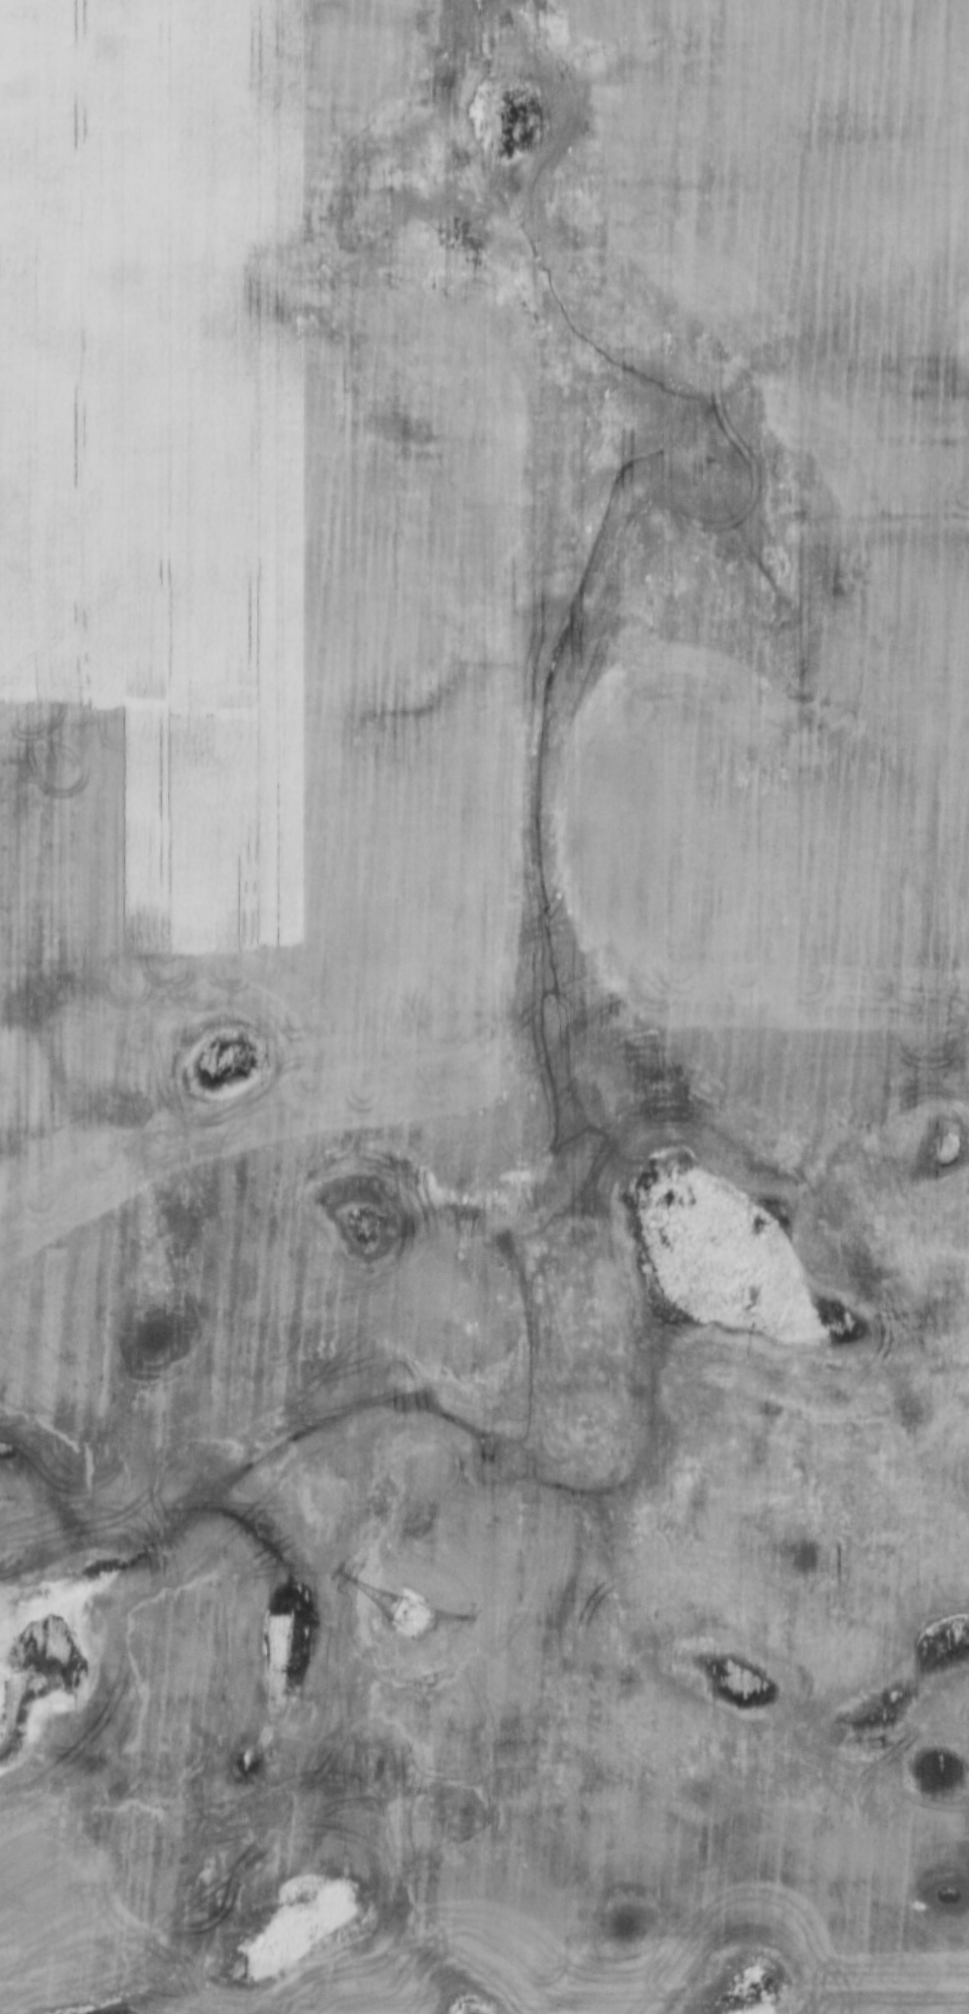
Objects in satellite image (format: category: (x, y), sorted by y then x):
power tower: (410, 1620)

